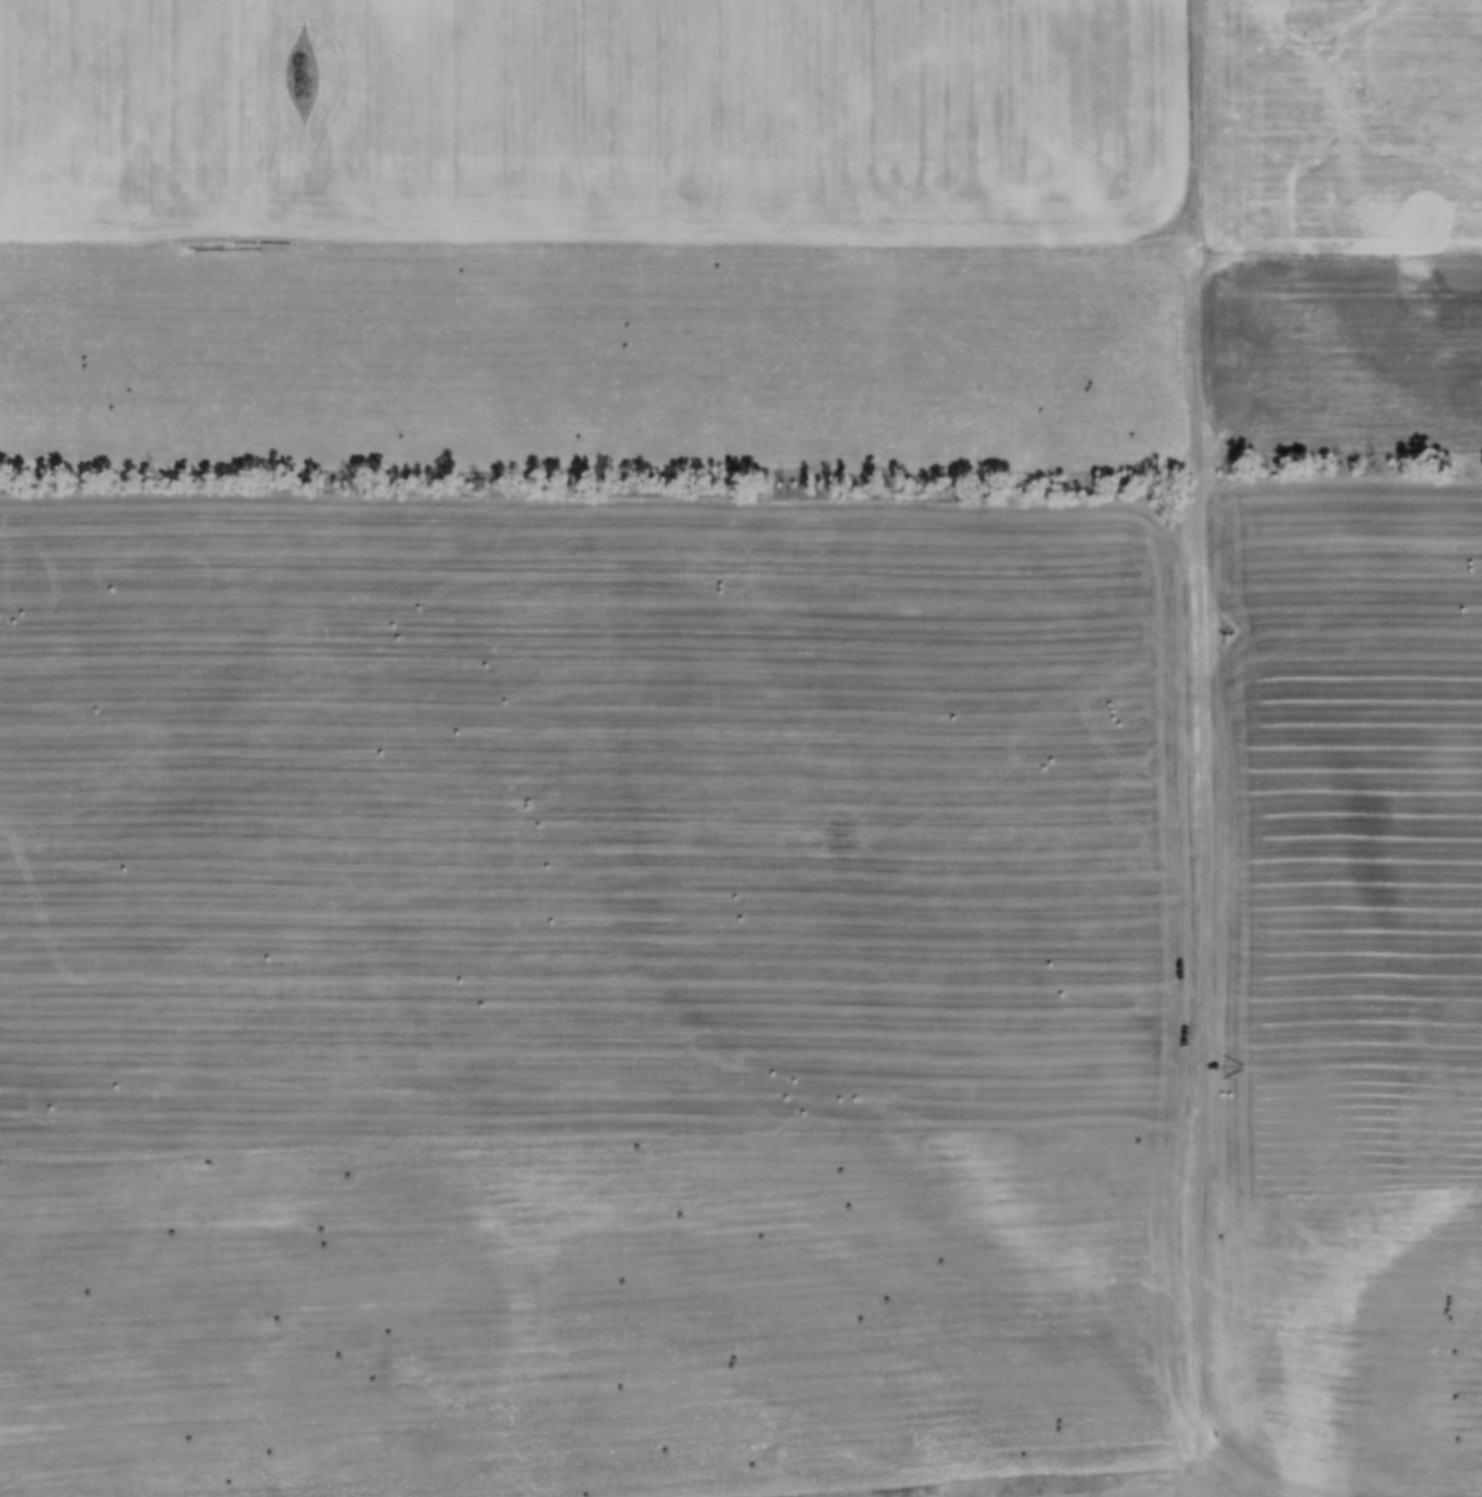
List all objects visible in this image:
road: (1206, 785)

